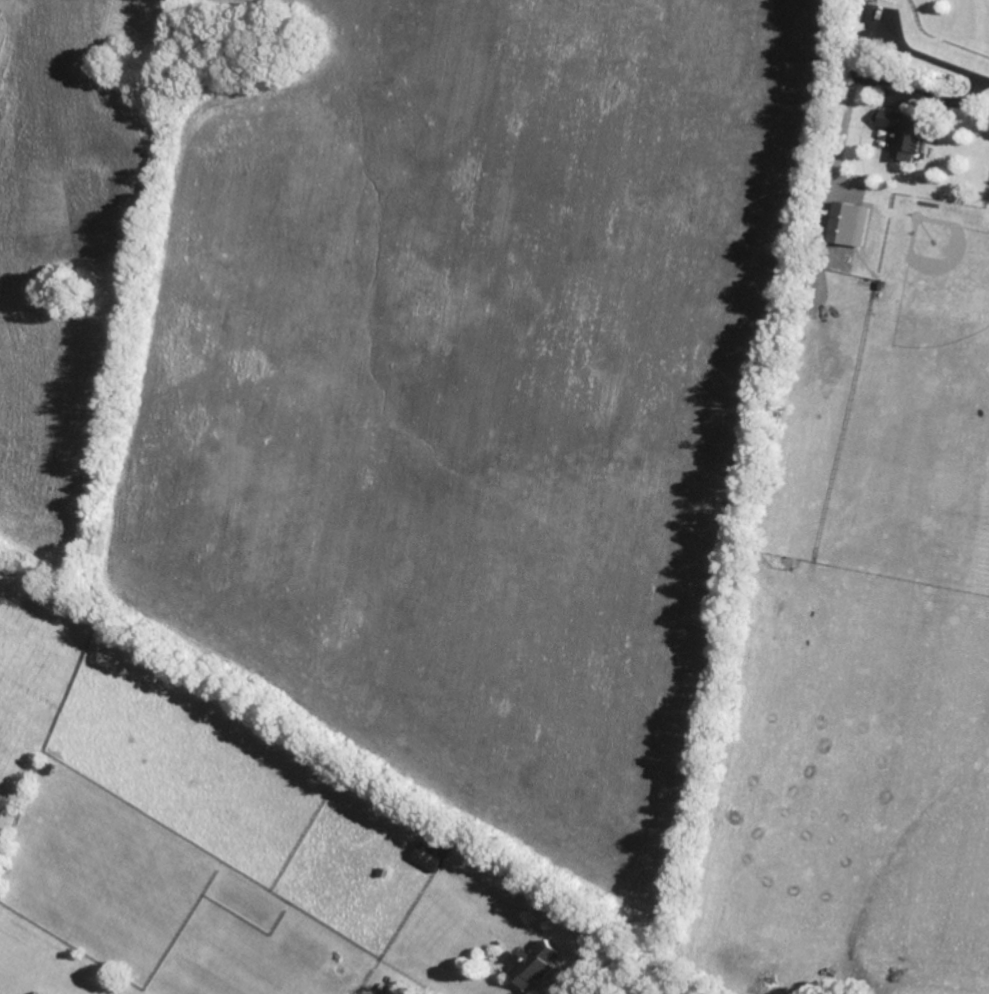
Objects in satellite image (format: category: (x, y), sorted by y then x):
road: (950, 98)
building: (904, 134)
building: (848, 224)
building: (432, 851)
building: (535, 963)
road: (568, 984)
building: (398, 989)

